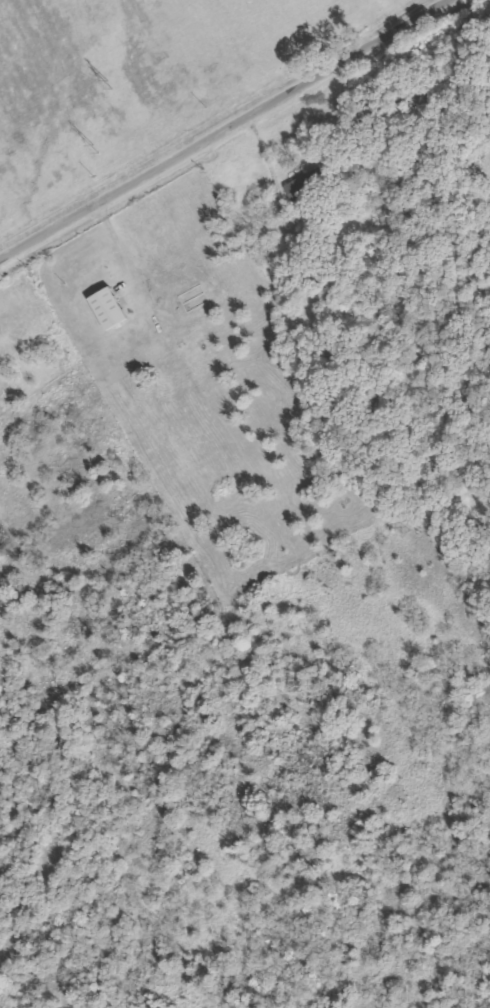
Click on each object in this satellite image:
road: (223, 129)
building: (307, 189)
building: (109, 308)

